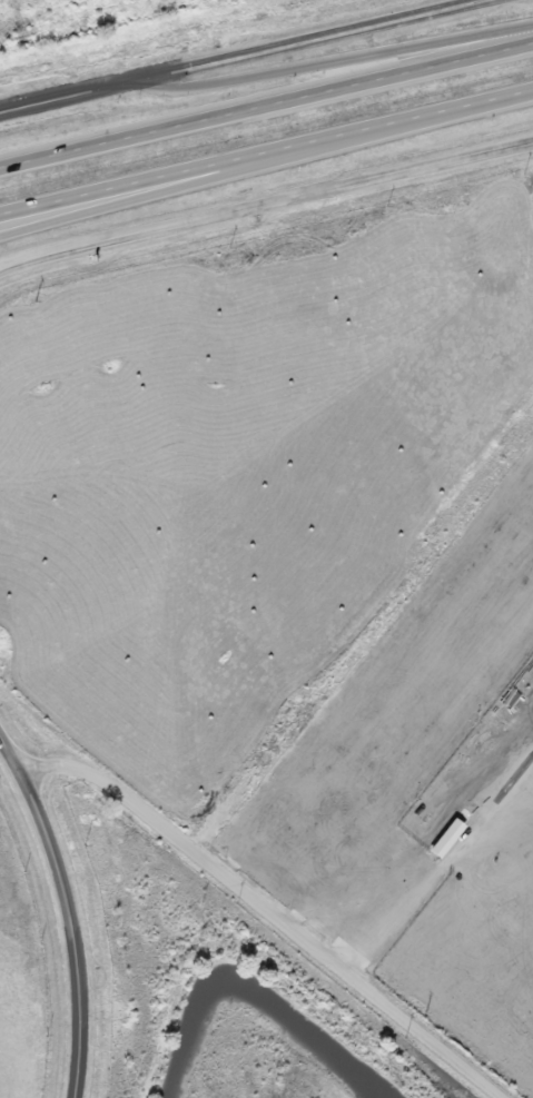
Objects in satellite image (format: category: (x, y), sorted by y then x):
road: (318, 38)
road: (340, 61)
road: (77, 95)
road: (266, 105)
road: (266, 154)
road: (171, 186)
road: (265, 200)
building: (447, 839)
road: (69, 910)
road: (273, 911)

